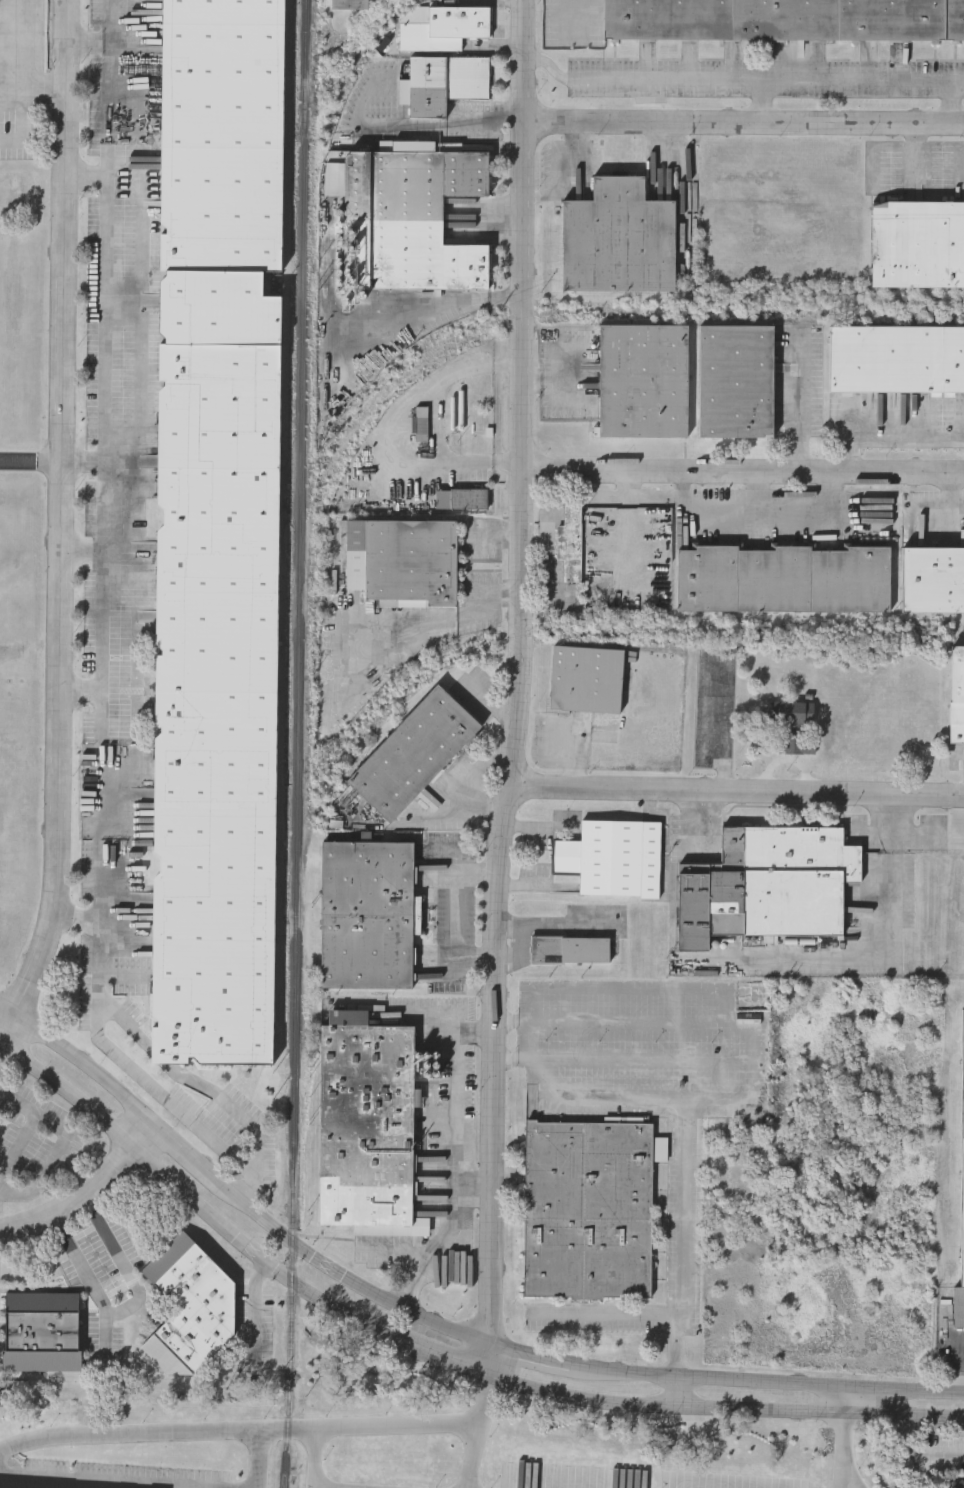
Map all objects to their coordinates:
building: (349, 4)
building: (784, 20)
building: (442, 28)
road: (86, 48)
road: (27, 57)
road: (547, 62)
road: (765, 80)
building: (442, 85)
road: (761, 101)
road: (952, 102)
road: (23, 119)
road: (513, 121)
road: (742, 122)
road: (403, 127)
road: (917, 162)
road: (85, 180)
building: (408, 217)
building: (618, 239)
building: (917, 244)
building: (896, 359)
road: (572, 376)
road: (547, 381)
building: (643, 381)
building: (736, 382)
road: (798, 404)
building: (421, 423)
road: (437, 423)
road: (885, 427)
road: (30, 460)
road: (81, 460)
road: (102, 462)
road: (742, 469)
road: (627, 481)
road: (757, 491)
road: (654, 494)
road: (951, 495)
building: (461, 499)
road: (762, 513)
road: (59, 524)
building: (216, 533)
road: (627, 535)
building: (570, 545)
road: (80, 556)
building: (402, 562)
building: (932, 579)
building: (783, 580)
road: (430, 624)
building: (586, 680)
road: (519, 688)
road: (79, 690)
building: (957, 695)
building: (792, 727)
railway: (298, 744)
building: (413, 755)
road: (575, 755)
road: (473, 779)
road: (736, 792)
building: (613, 859)
road: (476, 873)
building: (769, 887)
building: (367, 916)
road: (457, 916)
road: (890, 939)
building: (570, 950)
road: (475, 960)
road: (109, 964)
road: (632, 989)
parking lot: (523, 997)
road: (538, 1005)
parking lot: (630, 1006)
road: (727, 1006)
road: (422, 1016)
road: (511, 1023)
road: (637, 1024)
road: (466, 1033)
road: (528, 1041)
parking lot: (641, 1042)
road: (162, 1053)
road: (4, 1057)
road: (77, 1059)
road: (753, 1059)
road: (532, 1061)
road: (642, 1061)
parking lot: (623, 1079)
road: (720, 1100)
road: (243, 1120)
road: (457, 1121)
building: (367, 1126)
road: (139, 1129)
road: (63, 1145)
road: (685, 1145)
road: (19, 1147)
road: (185, 1149)
road: (474, 1190)
road: (194, 1198)
building: (961, 1200)
road: (77, 1202)
building: (588, 1210)
road: (446, 1237)
road: (395, 1250)
road: (345, 1276)
road: (410, 1294)
road: (127, 1305)
building: (190, 1314)
road: (254, 1314)
road: (606, 1318)
road: (678, 1327)
building: (41, 1333)
road: (963, 1343)
road: (673, 1355)
road: (529, 1356)
road: (440, 1359)
road: (767, 1383)
road: (680, 1392)
road: (845, 1401)
road: (723, 1409)
road: (264, 1428)
road: (843, 1451)
road: (906, 1452)
road: (473, 1456)
road: (259, 1458)
road: (316, 1458)
road: (845, 1474)
road: (102, 1480)
building: (959, 1484)

